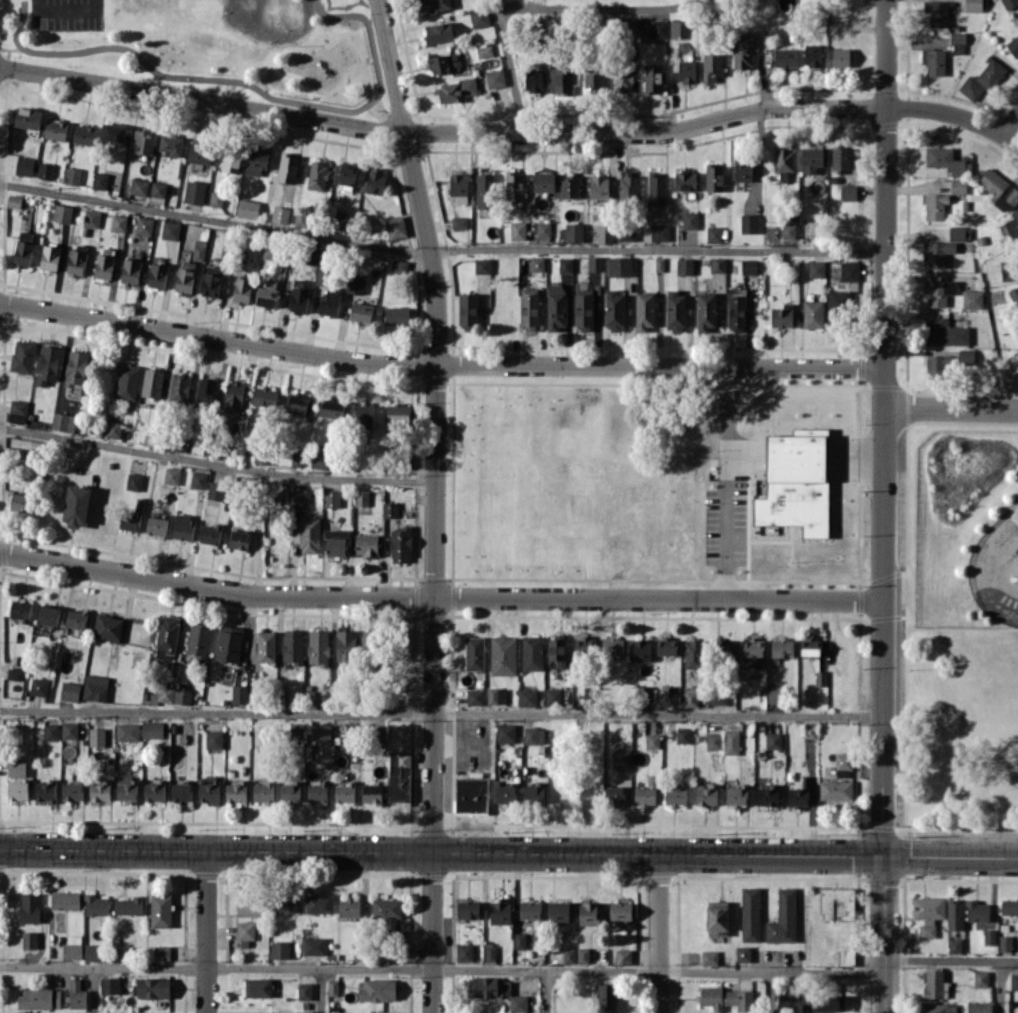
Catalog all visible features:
building: (1009, 3)
building: (787, 4)
building: (433, 5)
building: (973, 5)
road: (597, 8)
building: (937, 12)
building: (479, 17)
building: (629, 24)
building: (658, 28)
building: (680, 28)
building: (438, 32)
building: (957, 42)
building: (1013, 44)
park: (212, 47)
building: (484, 50)
building: (742, 50)
building: (812, 54)
building: (785, 57)
building: (840, 57)
building: (934, 61)
building: (444, 63)
building: (712, 66)
road: (508, 67)
building: (686, 71)
building: (494, 78)
building: (623, 78)
building: (652, 78)
building: (560, 79)
building: (593, 79)
building: (533, 80)
building: (981, 80)
building: (455, 89)
road: (956, 114)
building: (27, 117)
road: (1011, 124)
building: (56, 129)
building: (113, 132)
building: (84, 134)
road: (441, 135)
building: (143, 142)
building: (170, 144)
building: (199, 152)
building: (840, 158)
building: (231, 159)
building: (811, 159)
building: (947, 160)
building: (256, 162)
building: (783, 162)
building: (24, 165)
building: (287, 168)
building: (742, 169)
building: (45, 170)
building: (72, 175)
building: (317, 175)
building: (346, 175)
building: (714, 177)
building: (99, 180)
building: (375, 180)
building: (685, 181)
building: (543, 182)
building: (513, 185)
building: (628, 185)
building: (958, 185)
building: (138, 186)
building: (569, 186)
building: (599, 186)
building: (458, 187)
building: (656, 188)
building: (158, 189)
building: (484, 190)
building: (999, 190)
building: (194, 192)
building: (848, 192)
building: (216, 199)
building: (935, 206)
building: (247, 208)
building: (62, 213)
building: (280, 214)
building: (91, 218)
building: (689, 220)
building: (459, 222)
building: (118, 223)
building: (749, 223)
building: (1013, 224)
building: (144, 225)
building: (395, 227)
building: (543, 229)
building: (170, 230)
building: (517, 230)
building: (788, 230)
building: (571, 232)
building: (659, 232)
building: (959, 232)
building: (625, 233)
building: (714, 233)
building: (604, 234)
building: (23, 248)
road: (440, 248)
building: (198, 249)
building: (271, 251)
building: (937, 253)
building: (50, 256)
building: (76, 260)
building: (104, 263)
building: (595, 263)
building: (537, 264)
building: (718, 264)
building: (399, 265)
building: (481, 265)
building: (565, 265)
building: (620, 265)
building: (685, 266)
building: (748, 266)
building: (816, 268)
building: (130, 270)
building: (1008, 270)
building: (849, 271)
building: (157, 275)
building: (322, 275)
building: (185, 276)
building: (211, 280)
building: (355, 284)
building: (242, 289)
building: (940, 291)
building: (267, 293)
building: (299, 296)
building: (1014, 296)
building: (972, 298)
building: (330, 301)
building: (837, 305)
building: (528, 306)
building: (736, 307)
building: (556, 309)
building: (583, 309)
building: (467, 310)
building: (613, 310)
building: (644, 310)
building: (675, 310)
building: (360, 312)
building: (705, 312)
building: (813, 313)
building: (397, 315)
building: (782, 315)
building: (944, 332)
building: (22, 356)
building: (966, 356)
building: (48, 364)
road: (441, 364)
building: (939, 365)
building: (75, 369)
building: (128, 381)
building: (152, 382)
building: (179, 386)
building: (206, 391)
building: (233, 396)
building: (264, 396)
building: (298, 404)
road: (953, 406)
building: (331, 408)
building: (17, 411)
building: (398, 413)
building: (365, 415)
building: (63, 421)
road: (436, 422)
building: (114, 429)
building: (151, 437)
building: (319, 456)
building: (296, 458)
road: (217, 464)
building: (171, 475)
building: (133, 481)
road: (726, 482)
building: (795, 484)
building: (216, 491)
building: (299, 495)
building: (361, 497)
building: (332, 498)
building: (20, 502)
building: (76, 505)
road: (886, 506)
building: (389, 509)
building: (132, 516)
building: (156, 526)
building: (184, 527)
building: (210, 533)
building: (309, 534)
building: (239, 539)
building: (336, 542)
building: (366, 544)
building: (400, 544)
road: (441, 597)
building: (20, 610)
building: (48, 614)
building: (76, 619)
building: (107, 627)
building: (167, 632)
building: (198, 639)
building: (228, 643)
building: (266, 646)
building: (292, 646)
building: (318, 646)
building: (345, 646)
building: (583, 646)
building: (612, 646)
building: (666, 646)
building: (810, 646)
building: (782, 648)
building: (557, 650)
building: (640, 650)
building: (532, 652)
building: (474, 653)
building: (694, 653)
building: (753, 653)
building: (503, 655)
building: (14, 674)
building: (820, 678)
building: (38, 686)
building: (95, 687)
building: (69, 690)
building: (774, 693)
building: (239, 694)
building: (167, 695)
building: (496, 695)
building: (552, 696)
building: (475, 697)
building: (527, 697)
building: (718, 697)
building: (690, 698)
road: (442, 714)
building: (152, 729)
building: (69, 730)
building: (51, 731)
building: (127, 731)
building: (296, 731)
building: (505, 732)
building: (320, 733)
building: (379, 733)
building: (683, 734)
building: (533, 735)
building: (97, 737)
building: (214, 739)
building: (652, 740)
building: (713, 740)
building: (773, 740)
building: (731, 742)
building: (621, 757)
building: (843, 764)
building: (16, 766)
building: (399, 776)
building: (18, 788)
building: (127, 788)
building: (209, 789)
building: (835, 789)
building: (45, 790)
building: (100, 790)
building: (72, 791)
building: (154, 791)
building: (236, 791)
building: (317, 791)
building: (181, 792)
building: (262, 792)
building: (290, 792)
building: (344, 792)
building: (371, 792)
building: (506, 792)
building: (533, 793)
building: (646, 793)
building: (799, 793)
building: (737, 794)
building: (471, 795)
building: (615, 795)
building: (675, 795)
building: (706, 795)
building: (767, 795)
road: (508, 852)
traffic signals: (884, 856)
building: (65, 900)
building: (284, 903)
building: (319, 903)
building: (837, 903)
building: (96, 904)
building: (129, 905)
building: (249, 905)
building: (1009, 906)
building: (29, 907)
building: (349, 907)
building: (386, 908)
building: (467, 909)
building: (530, 909)
building: (160, 910)
building: (621, 910)
building: (977, 910)
building: (558, 911)
building: (499, 913)
building: (591, 913)
building: (750, 914)
building: (928, 914)
building: (955, 914)
building: (717, 917)
building: (783, 917)
road: (207, 931)
building: (245, 932)
road: (435, 932)
road: (659, 934)
building: (989, 936)
building: (29, 939)
building: (519, 940)
building: (1005, 942)
building: (314, 945)
building: (955, 945)
building: (73, 947)
building: (280, 949)
building: (92, 951)
building: (489, 951)
building: (162, 952)
building: (464, 952)
building: (742, 953)
building: (569, 955)
building: (582, 955)
building: (623, 956)
building: (845, 956)
building: (709, 957)
road: (950, 958)
road: (441, 968)
building: (981, 978)
building: (1014, 981)
building: (935, 983)
building: (110, 985)
building: (485, 986)
road: (1000, 986)
building: (153, 987)
building: (257, 987)
building: (332, 987)
road: (94, 989)
building: (304, 990)
road: (321, 990)
building: (377, 990)
road: (548, 991)
road: (772, 991)
building: (76, 994)
building: (606, 995)
building: (40, 998)
building: (727, 998)
building: (829, 1002)
building: (518, 1003)
building: (979, 1007)
building: (937, 1008)
building: (304, 1012)
building: (333, 1012)

